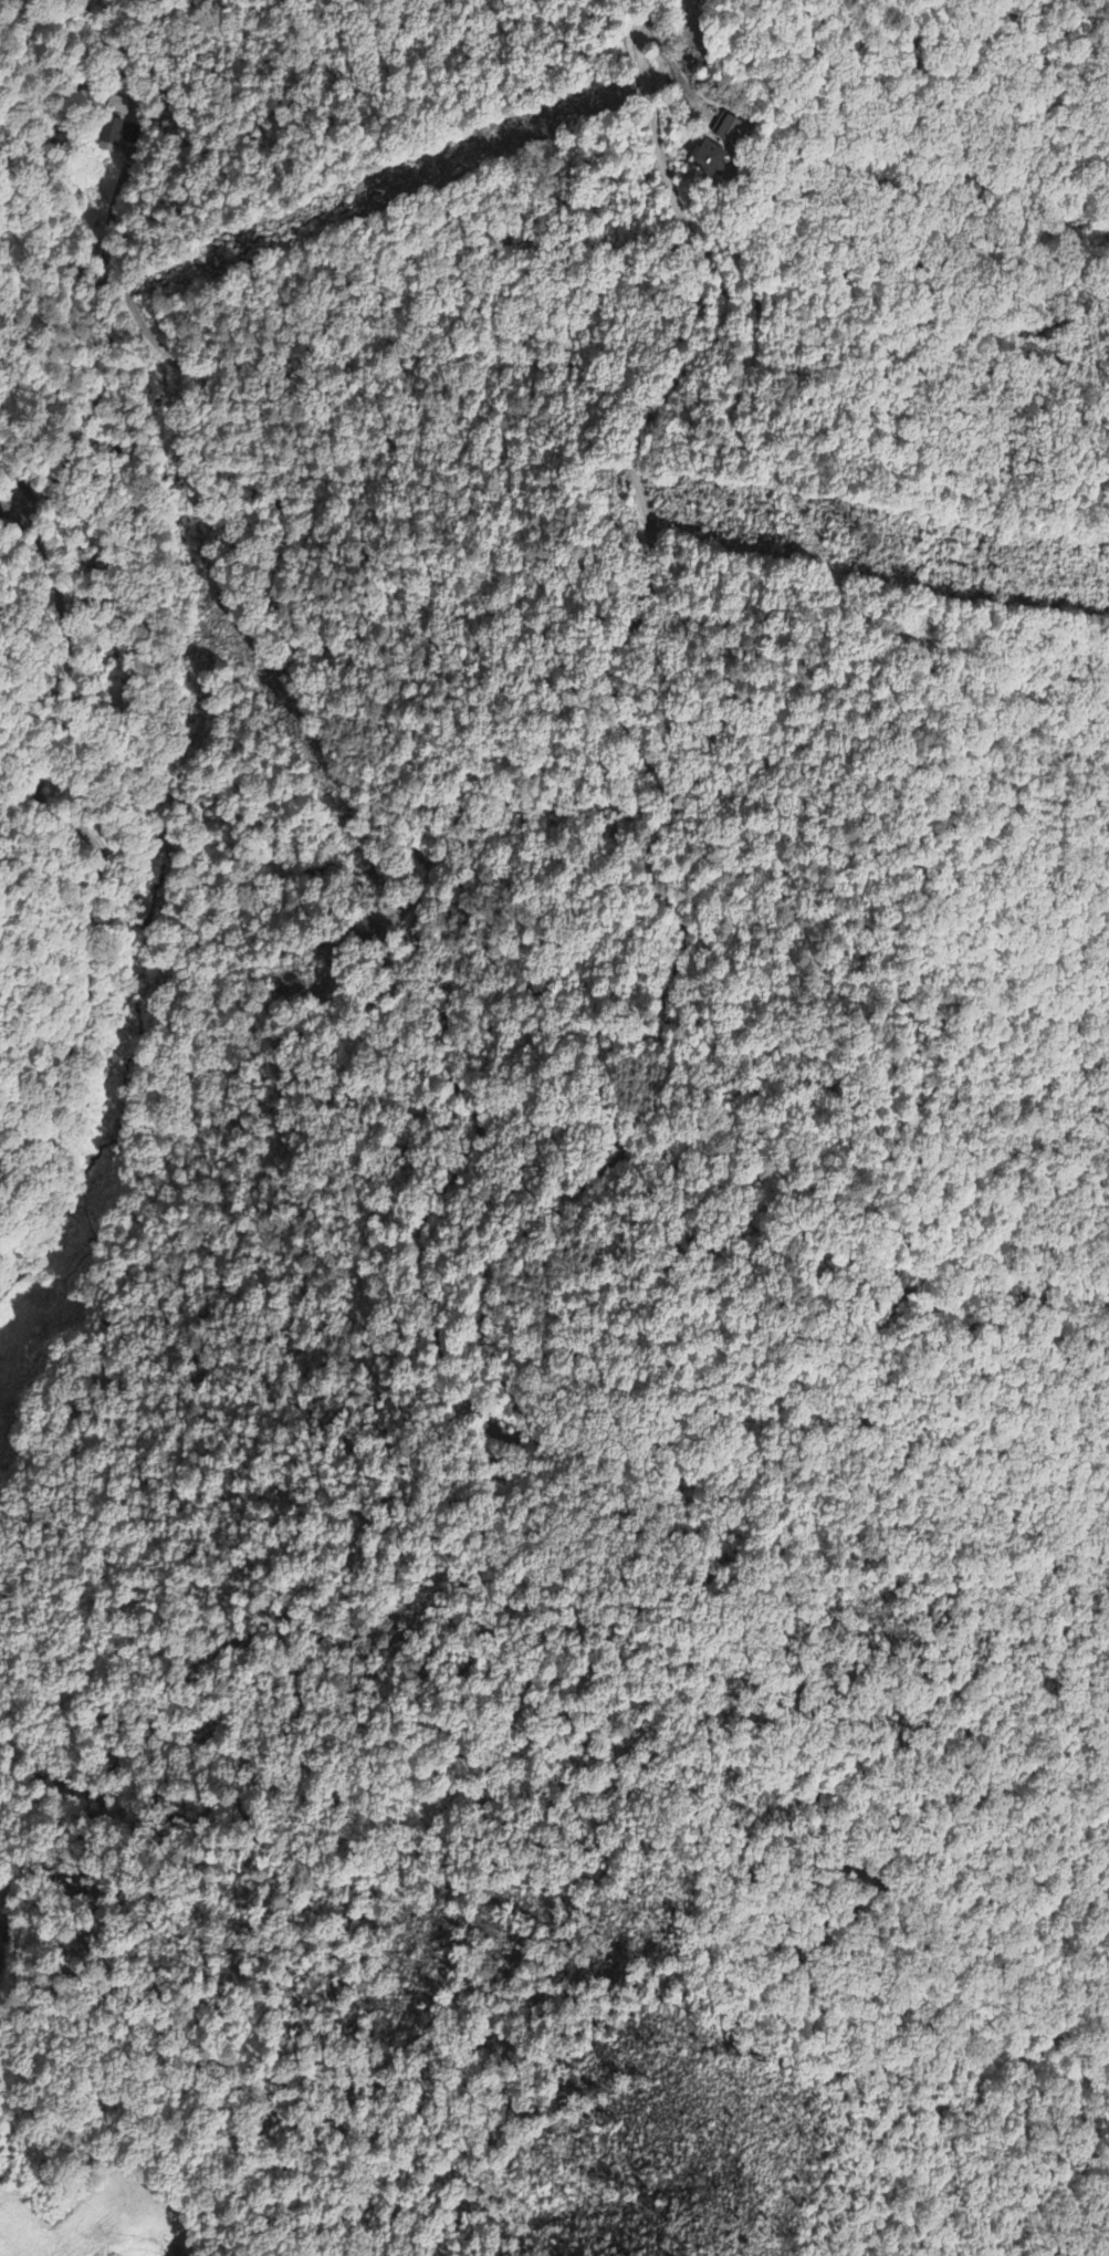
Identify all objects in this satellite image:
road: (646, 13)
building: (710, 159)
power tower: (867, 539)
road: (467, 1098)
road: (6, 1344)

